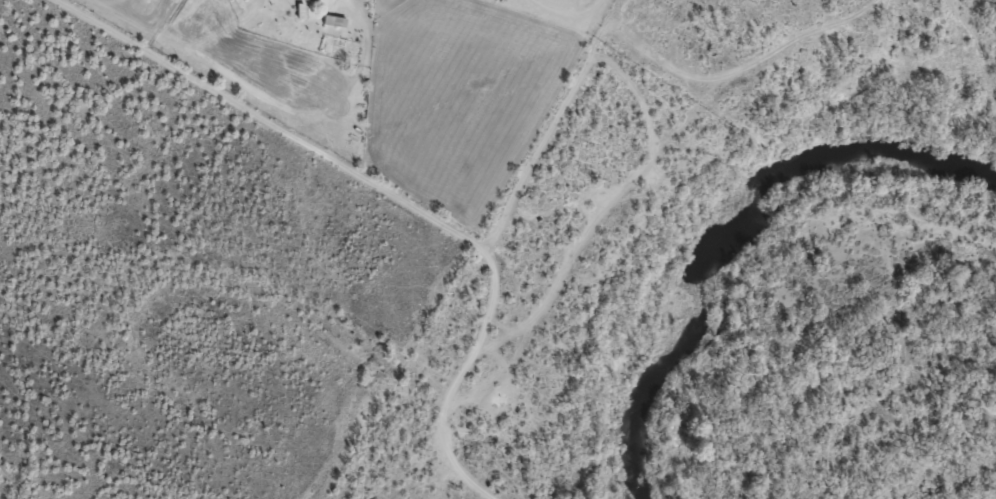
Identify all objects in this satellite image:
building: (319, 0)
building: (338, 21)
river: (729, 230)

